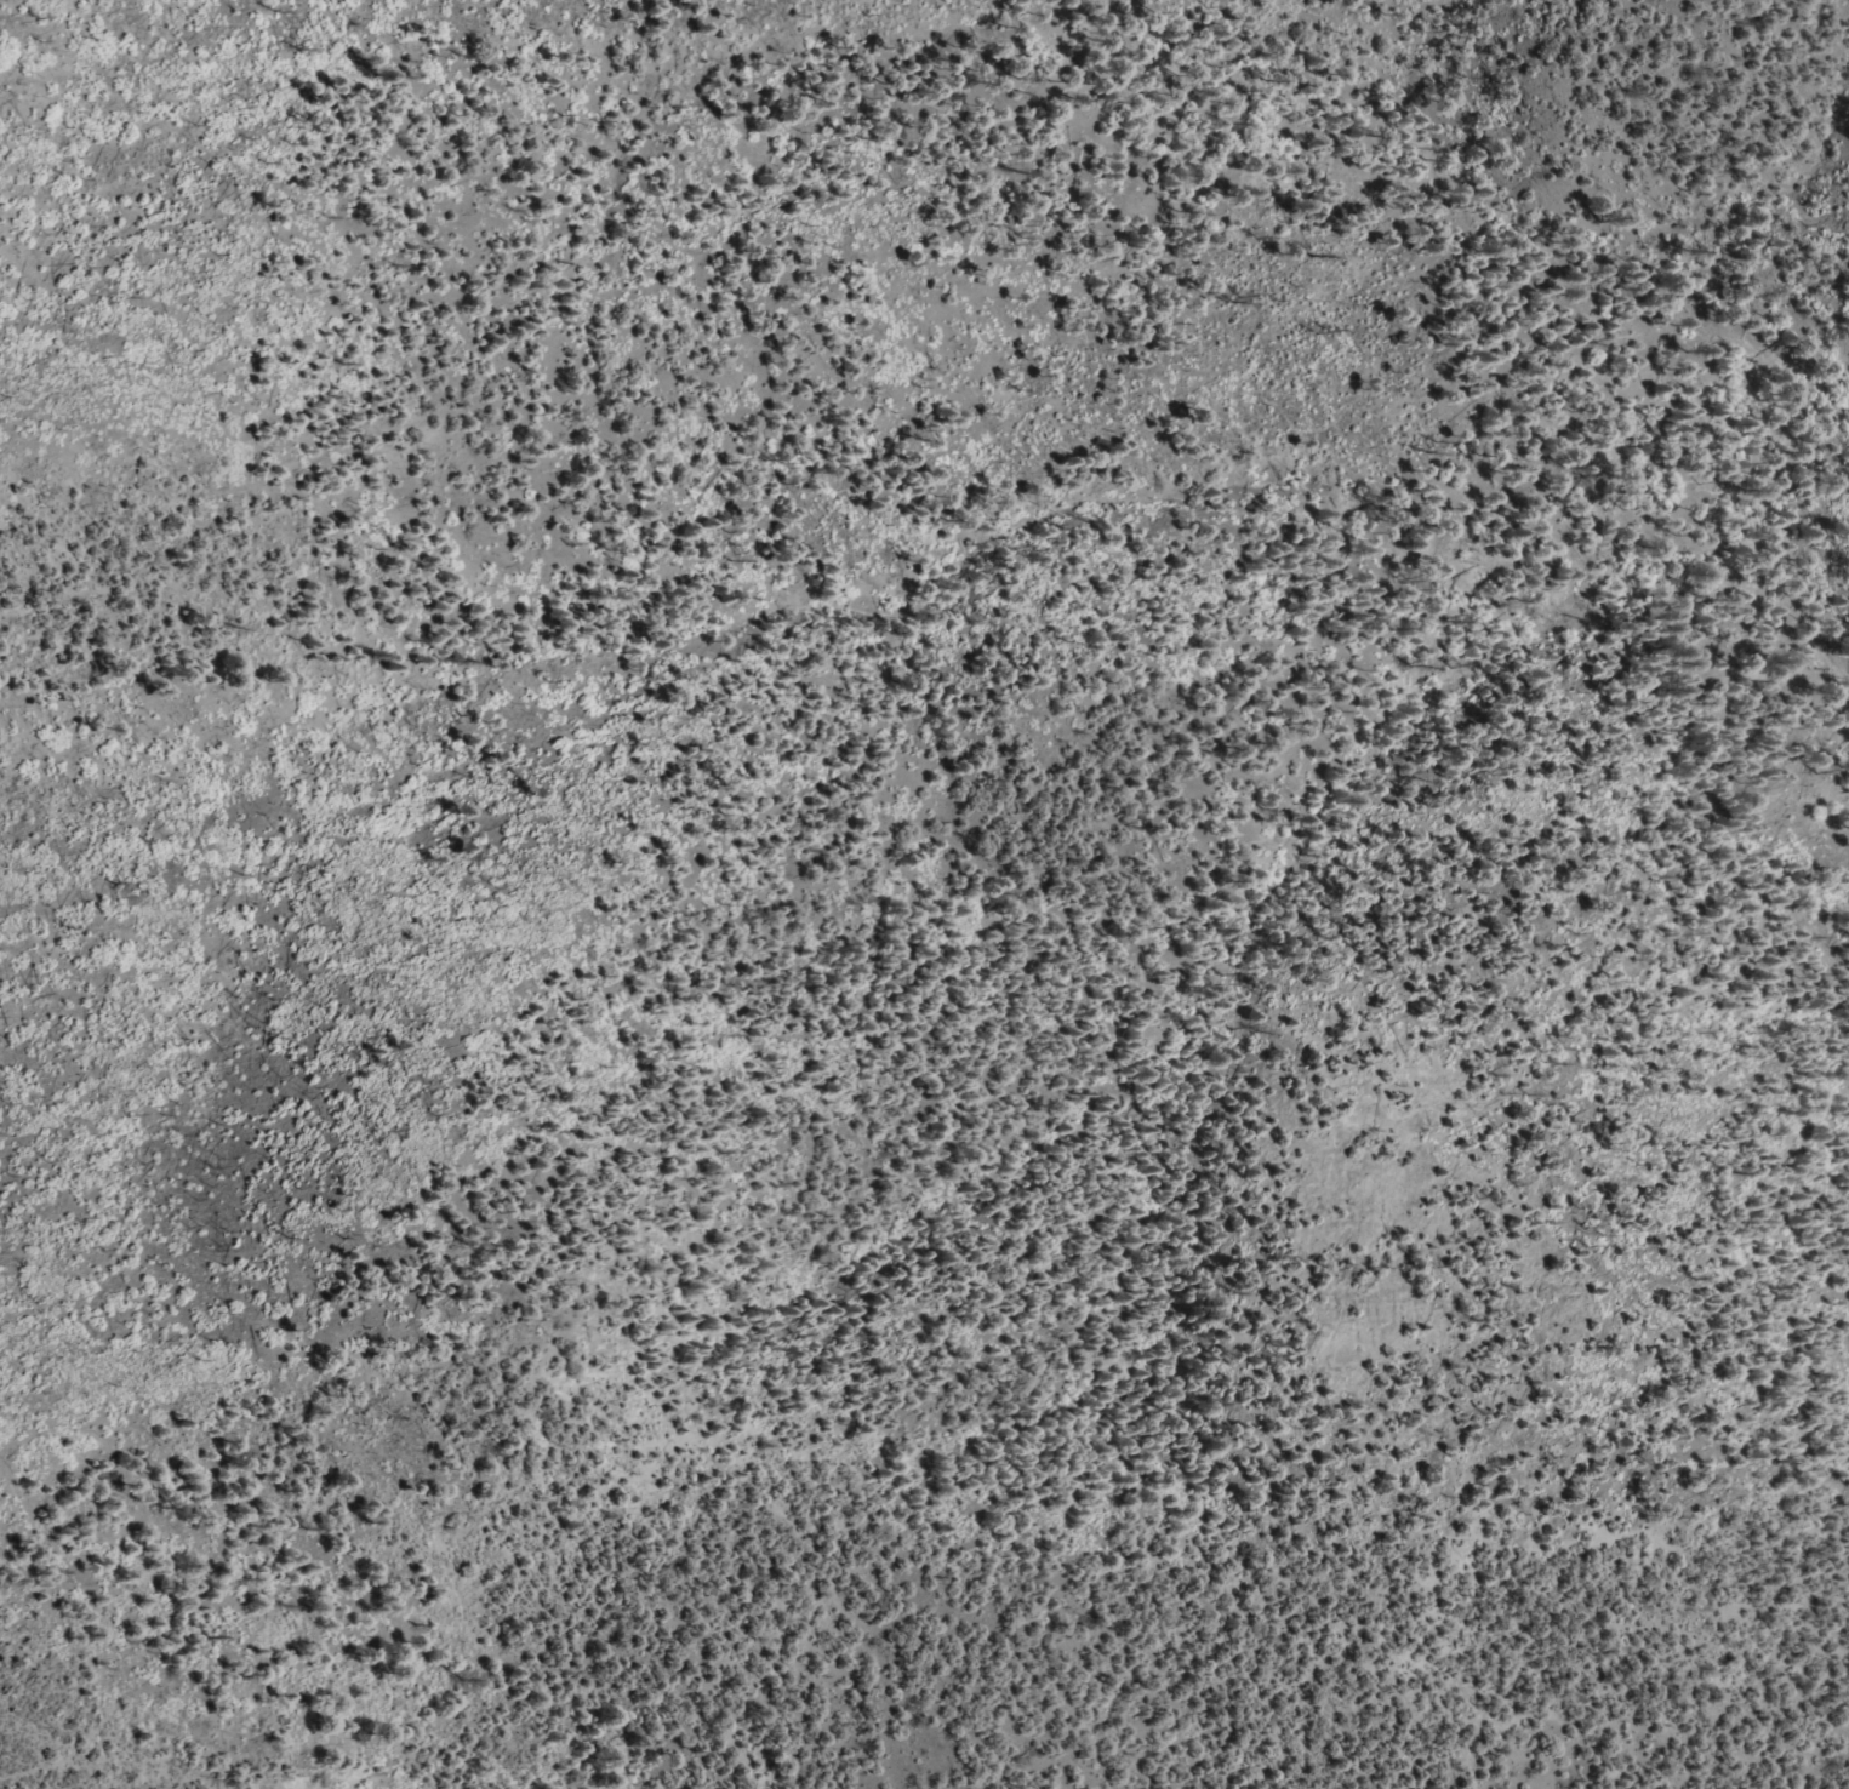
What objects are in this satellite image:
road: (1499, 1011)
road: (338, 1379)

